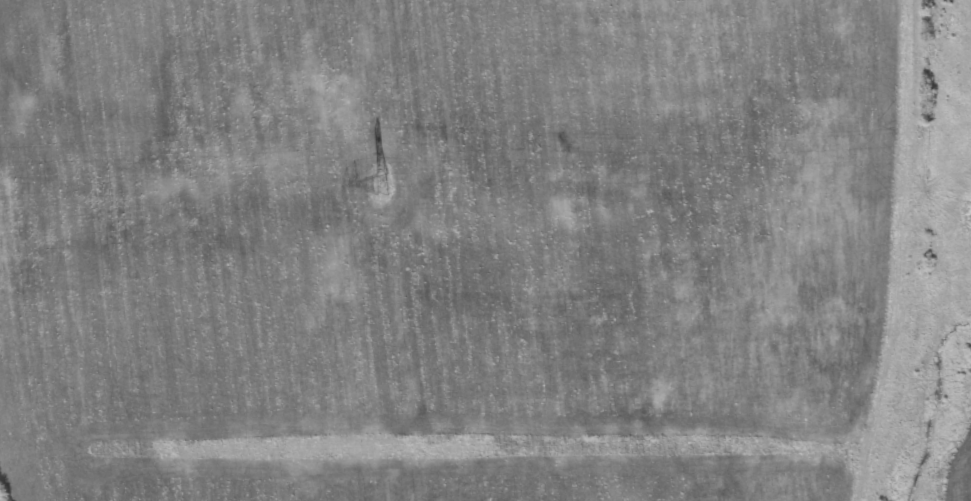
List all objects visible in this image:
power tower: (386, 183)

